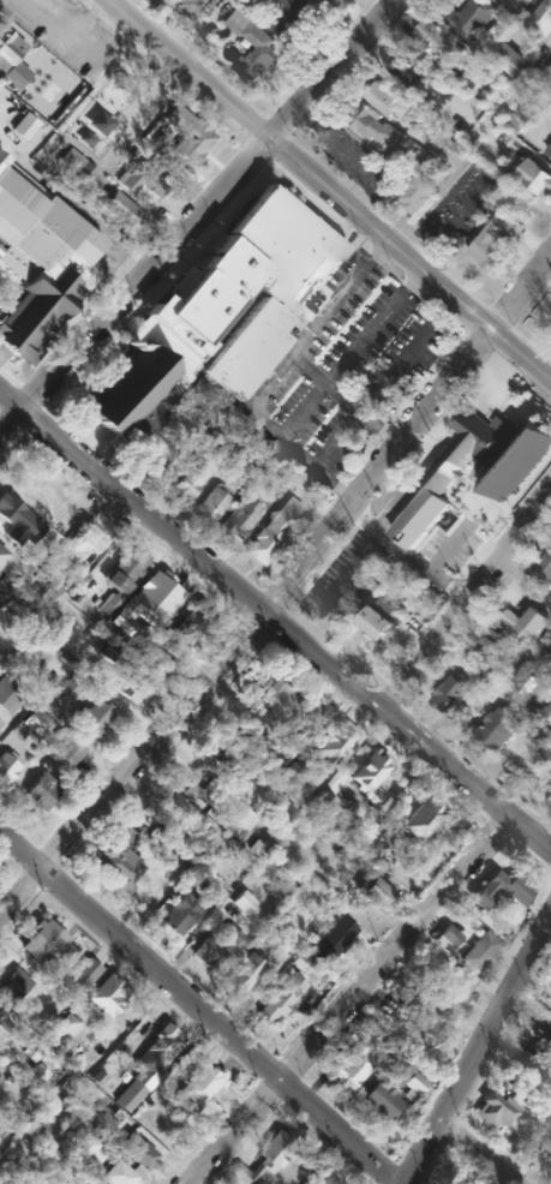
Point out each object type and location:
building: (188, 6)
building: (301, 8)
building: (469, 17)
building: (543, 18)
building: (439, 41)
building: (254, 46)
building: (11, 58)
building: (516, 60)
building: (408, 67)
building: (549, 70)
building: (387, 98)
building: (522, 114)
building: (432, 118)
building: (98, 122)
building: (23, 125)
building: (187, 133)
building: (83, 134)
building: (385, 134)
building: (549, 149)
building: (76, 165)
building: (535, 177)
building: (142, 178)
building: (418, 193)
road: (319, 201)
road: (73, 203)
building: (120, 209)
road: (196, 213)
building: (496, 239)
building: (40, 261)
road: (108, 269)
building: (269, 286)
building: (204, 297)
road: (309, 333)
road: (348, 359)
road: (382, 388)
building: (131, 393)
road: (343, 397)
road: (8, 401)
road: (305, 458)
building: (501, 479)
building: (188, 480)
road: (393, 484)
building: (211, 504)
building: (239, 518)
building: (274, 530)
building: (88, 534)
road: (449, 546)
road: (405, 550)
building: (2, 554)
road: (13, 555)
building: (125, 568)
building: (543, 569)
road: (349, 570)
road: (281, 585)
road: (463, 594)
building: (37, 598)
building: (146, 603)
building: (381, 617)
building: (188, 624)
building: (522, 627)
road: (286, 630)
building: (110, 653)
building: (150, 659)
building: (525, 680)
building: (127, 686)
building: (68, 688)
building: (459, 690)
building: (8, 696)
building: (274, 700)
building: (547, 713)
building: (92, 717)
building: (0, 722)
building: (26, 725)
building: (499, 728)
building: (333, 747)
building: (262, 748)
building: (66, 752)
building: (229, 760)
building: (7, 766)
building: (287, 772)
building: (369, 777)
building: (41, 790)
building: (550, 791)
building: (323, 802)
building: (229, 812)
building: (180, 814)
building: (421, 819)
building: (208, 841)
building: (118, 860)
building: (501, 890)
building: (373, 891)
building: (211, 892)
building: (239, 905)
building: (180, 913)
building: (448, 935)
building: (330, 938)
building: (46, 945)
building: (478, 951)
building: (208, 952)
building: (304, 965)
building: (241, 974)
building: (80, 977)
building: (13, 985)
building: (400, 988)
building: (454, 988)
building: (108, 993)
building: (280, 997)
road: (343, 1001)
road: (198, 1007)
building: (2, 1023)
building: (427, 1023)
building: (67, 1025)
building: (365, 1027)
building: (383, 1041)
road: (473, 1047)
building: (30, 1052)
building: (156, 1053)
building: (348, 1066)
building: (522, 1070)
building: (36, 1074)
building: (403, 1076)
building: (197, 1087)
building: (130, 1095)
building: (382, 1101)
building: (493, 1111)
building: (116, 1112)
building: (544, 1148)
building: (275, 1149)
building: (80, 1150)
building: (138, 1152)
road: (465, 1154)
building: (246, 1173)
building: (115, 1174)
building: (453, 1178)
building: (329, 1180)

